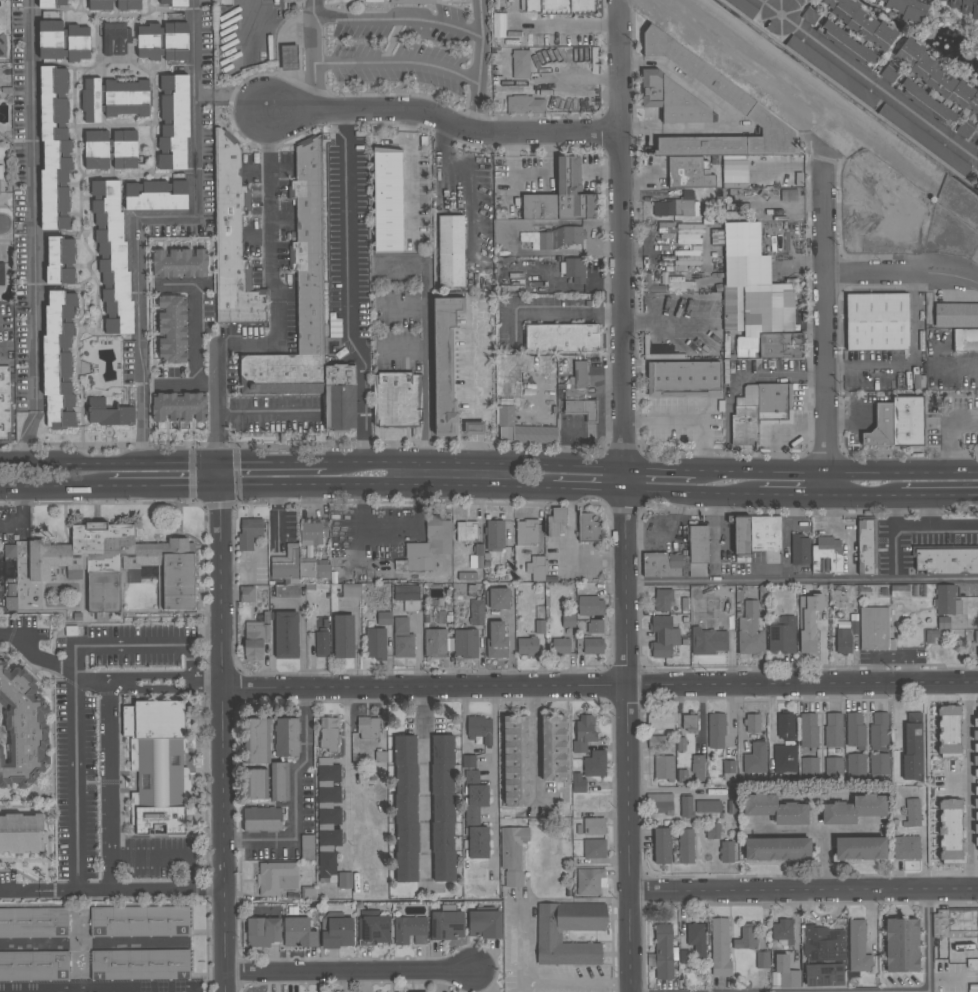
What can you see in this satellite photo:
building: (174, 2)
building: (52, 3)
building: (100, 6)
building: (555, 6)
building: (965, 6)
building: (745, 7)
building: (905, 8)
building: (644, 9)
road: (399, 18)
building: (860, 21)
building: (78, 36)
building: (115, 40)
building: (162, 41)
building: (847, 44)
building: (2, 46)
building: (65, 54)
road: (315, 56)
road: (398, 63)
building: (520, 64)
road: (479, 66)
building: (832, 71)
building: (888, 74)
road: (868, 77)
building: (937, 77)
building: (0, 91)
building: (727, 92)
building: (113, 98)
building: (672, 100)
building: (926, 103)
building: (525, 105)
building: (174, 122)
road: (442, 123)
road: (346, 125)
building: (964, 130)
building: (924, 139)
building: (108, 147)
building: (54, 148)
building: (125, 163)
building: (0, 180)
building: (156, 195)
building: (562, 196)
building: (388, 200)
road: (34, 205)
building: (676, 207)
road: (155, 219)
road: (2, 226)
road: (348, 228)
building: (688, 233)
building: (553, 238)
building: (233, 240)
building: (451, 251)
building: (112, 257)
building: (60, 260)
building: (180, 263)
building: (575, 270)
road: (902, 271)
building: (1, 275)
building: (647, 279)
building: (299, 294)
building: (756, 298)
road: (550, 310)
road: (277, 311)
building: (956, 315)
building: (876, 322)
road: (826, 323)
building: (172, 329)
building: (562, 338)
road: (200, 339)
building: (965, 340)
road: (404, 349)
road: (428, 356)
building: (58, 359)
road: (912, 359)
building: (444, 365)
building: (684, 379)
road: (210, 386)
road: (365, 390)
building: (397, 400)
building: (6, 405)
building: (179, 407)
building: (579, 409)
building: (758, 410)
building: (109, 414)
road: (268, 419)
road: (683, 421)
building: (897, 424)
building: (473, 428)
building: (523, 429)
road: (954, 433)
road: (28, 437)
road: (110, 463)
traffic signals: (221, 463)
road: (274, 463)
road: (474, 465)
road: (658, 468)
road: (836, 472)
road: (221, 476)
road: (164, 489)
traffic signals: (221, 489)
road: (54, 490)
road: (420, 490)
road: (723, 494)
road: (621, 496)
road: (862, 496)
road: (937, 496)
road: (897, 508)
road: (21, 516)
building: (556, 522)
building: (589, 528)
building: (466, 531)
road: (937, 531)
building: (526, 532)
building: (249, 533)
building: (311, 533)
road: (842, 534)
building: (494, 536)
road: (714, 537)
building: (757, 538)
building: (430, 545)
building: (866, 547)
road: (896, 550)
building: (698, 551)
building: (799, 551)
building: (478, 552)
building: (826, 555)
building: (947, 561)
building: (118, 565)
building: (662, 565)
building: (297, 566)
building: (536, 568)
road: (800, 581)
building: (351, 590)
building: (406, 593)
building: (247, 594)
building: (498, 598)
building: (662, 601)
building: (947, 601)
building: (9, 604)
building: (590, 606)
building: (476, 613)
building: (568, 621)
building: (809, 621)
building: (595, 626)
building: (532, 628)
building: (750, 631)
building: (285, 635)
building: (706, 636)
building: (782, 636)
building: (343, 637)
building: (663, 637)
building: (403, 639)
building: (496, 639)
road: (356, 642)
building: (435, 643)
building: (321, 644)
building: (376, 644)
building: (465, 644)
building: (527, 646)
building: (593, 646)
road: (133, 647)
building: (561, 647)
road: (35, 658)
road: (600, 688)
road: (167, 690)
road: (897, 709)
road: (75, 710)
road: (731, 712)
building: (660, 722)
building: (689, 723)
building: (752, 723)
building: (785, 727)
building: (368, 728)
building: (21, 729)
building: (480, 729)
building: (808, 730)
building: (833, 730)
building: (855, 730)
building: (879, 730)
building: (949, 730)
building: (716, 731)
building: (584, 733)
building: (329, 734)
building: (286, 737)
building: (977, 737)
road: (224, 740)
building: (258, 741)
road: (535, 744)
building: (912, 746)
building: (553, 748)
building: (785, 759)
building: (755, 760)
building: (468, 761)
building: (515, 761)
building: (856, 764)
building: (595, 765)
building: (877, 765)
building: (157, 766)
building: (664, 768)
building: (698, 768)
building: (833, 768)
parking lot: (83, 770)
building: (728, 770)
road: (495, 776)
building: (471, 777)
road: (346, 779)
building: (279, 782)
building: (577, 783)
building: (258, 784)
road: (111, 785)
road: (969, 787)
road: (427, 789)
road: (297, 800)
building: (975, 801)
building: (661, 803)
building: (686, 807)
building: (707, 807)
building: (442, 808)
building: (406, 809)
building: (775, 809)
building: (853, 810)
building: (912, 813)
building: (328, 816)
building: (262, 819)
building: (476, 822)
building: (593, 826)
building: (950, 830)
building: (712, 831)
road: (818, 831)
building: (22, 834)
building: (661, 846)
building: (686, 846)
building: (906, 848)
building: (594, 849)
building: (777, 849)
building: (860, 849)
building: (726, 852)
building: (513, 855)
road: (150, 859)
road: (824, 861)
building: (277, 878)
building: (344, 880)
building: (590, 881)
road: (19, 889)
road: (131, 891)
road: (805, 892)
road: (527, 900)
building: (139, 921)
building: (34, 923)
building: (484, 924)
building: (957, 924)
building: (447, 925)
building: (373, 928)
building: (410, 930)
building: (782, 931)
building: (262, 932)
building: (299, 933)
building: (338, 933)
building: (549, 937)
building: (745, 938)
building: (696, 939)
road: (929, 941)
building: (901, 945)
building: (720, 947)
building: (858, 947)
building: (664, 952)
building: (824, 957)
building: (763, 960)
building: (140, 965)
building: (34, 966)
building: (784, 973)
road: (349, 974)
road: (97, 987)
road: (194, 989)
road: (557, 989)
road: (613, 989)

